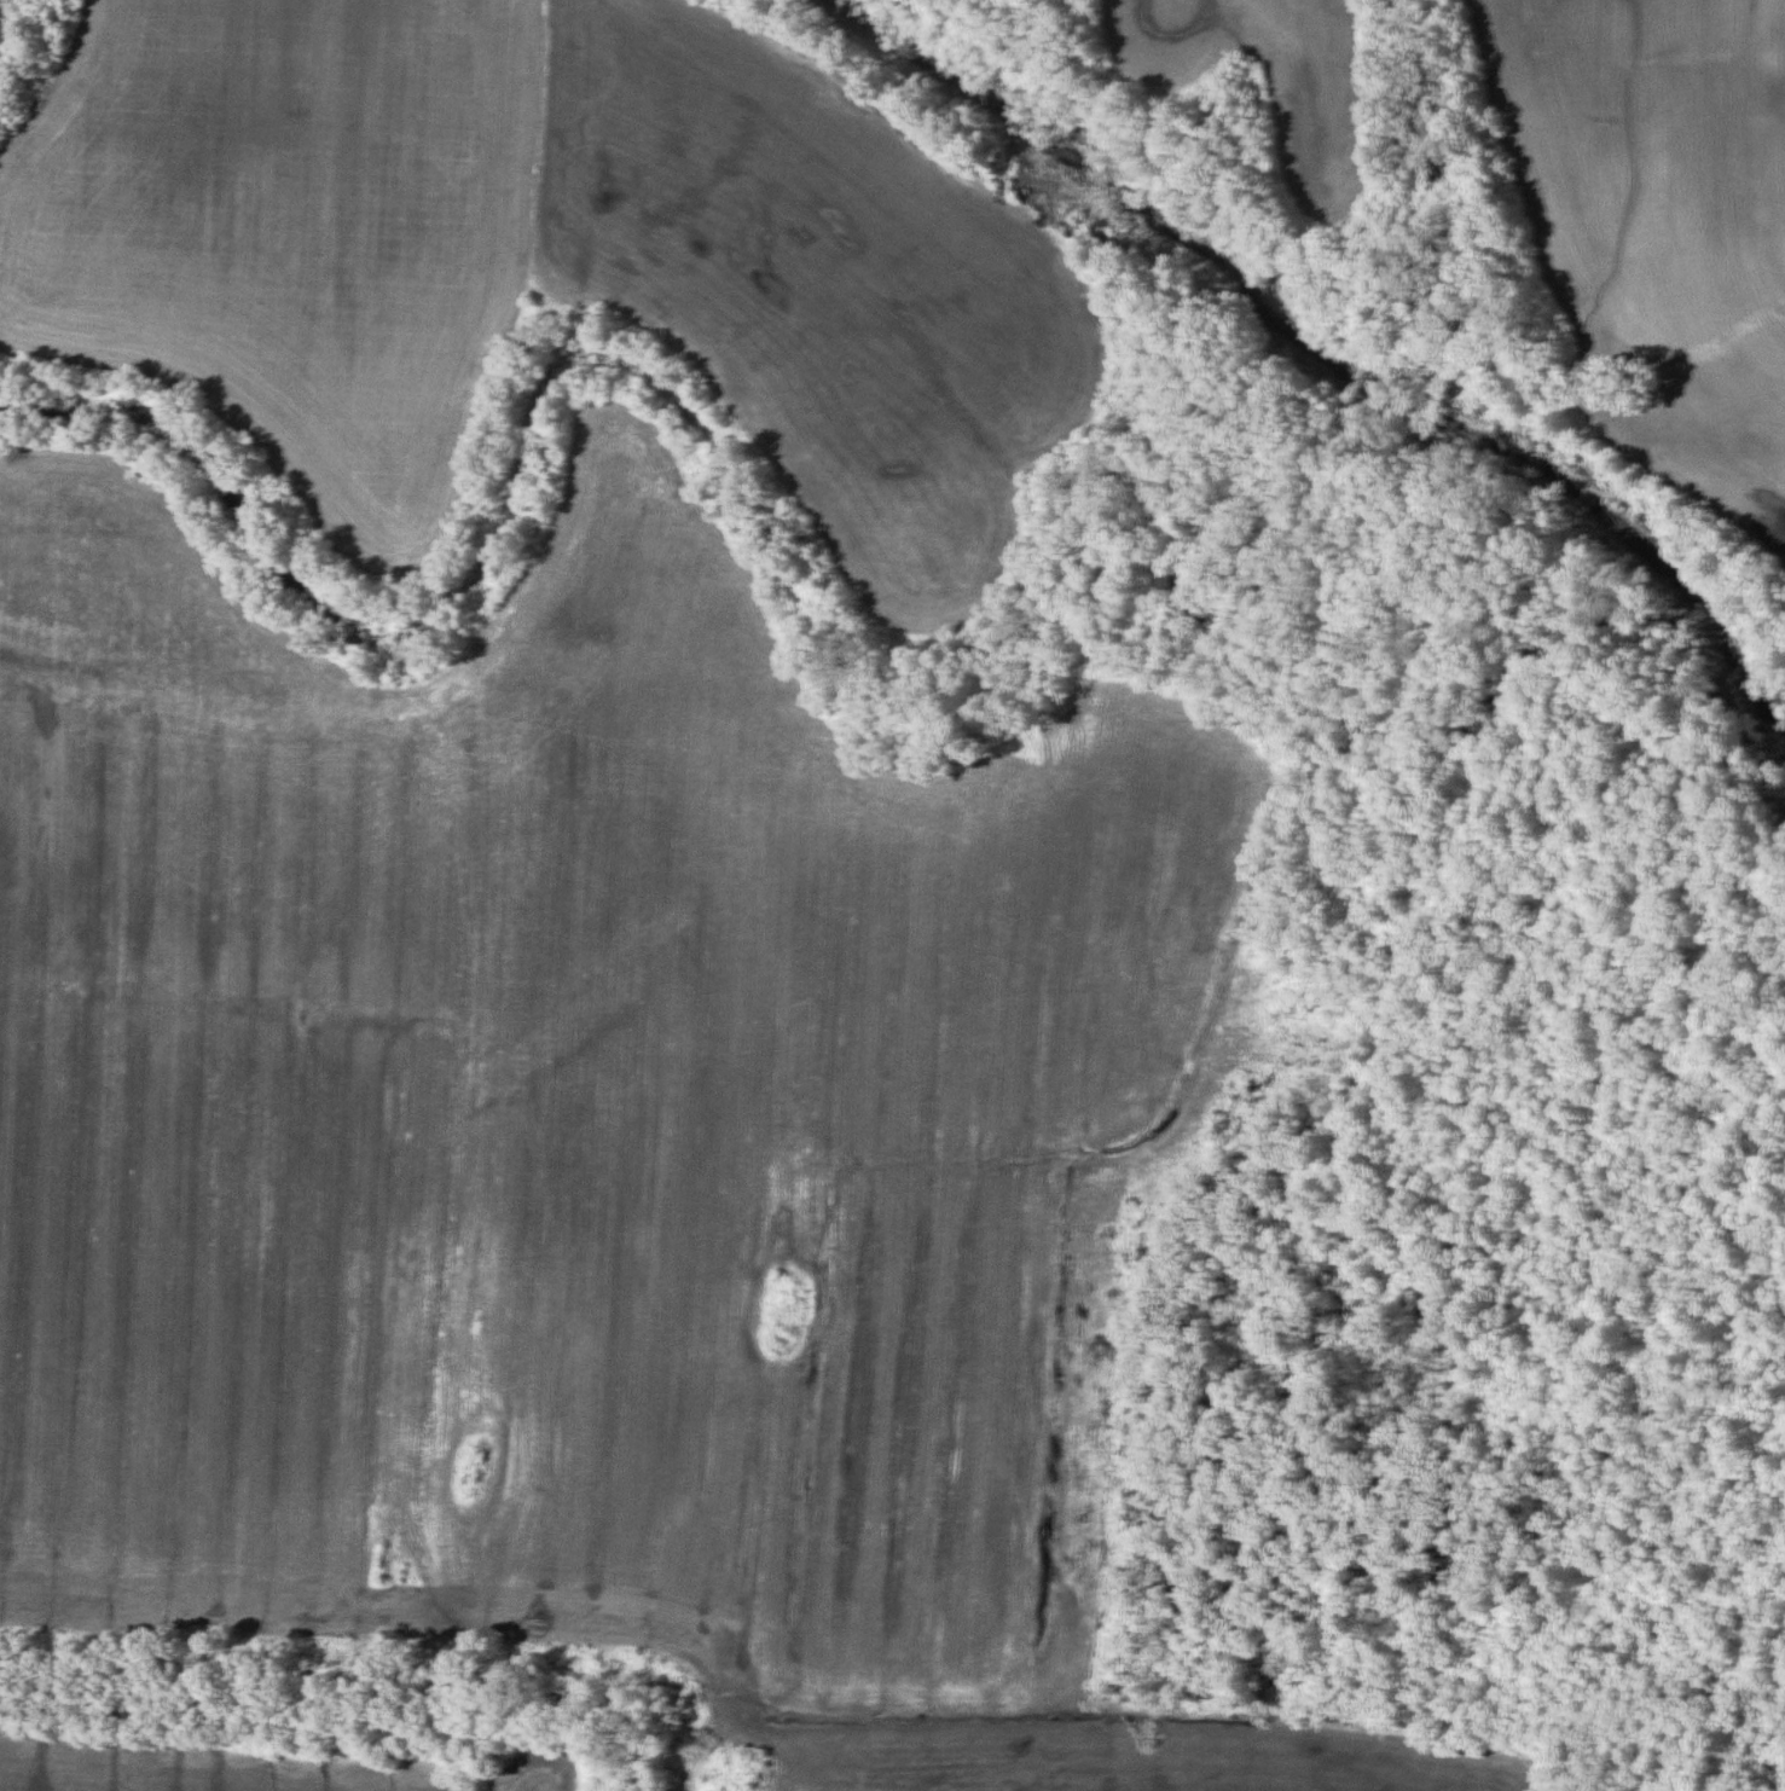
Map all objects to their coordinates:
crop: (1312, 145)
crop: (1657, 216)
crop: (294, 224)
crop: (830, 305)
road: (336, 713)
crop: (612, 1137)
crop: (262, 1764)

